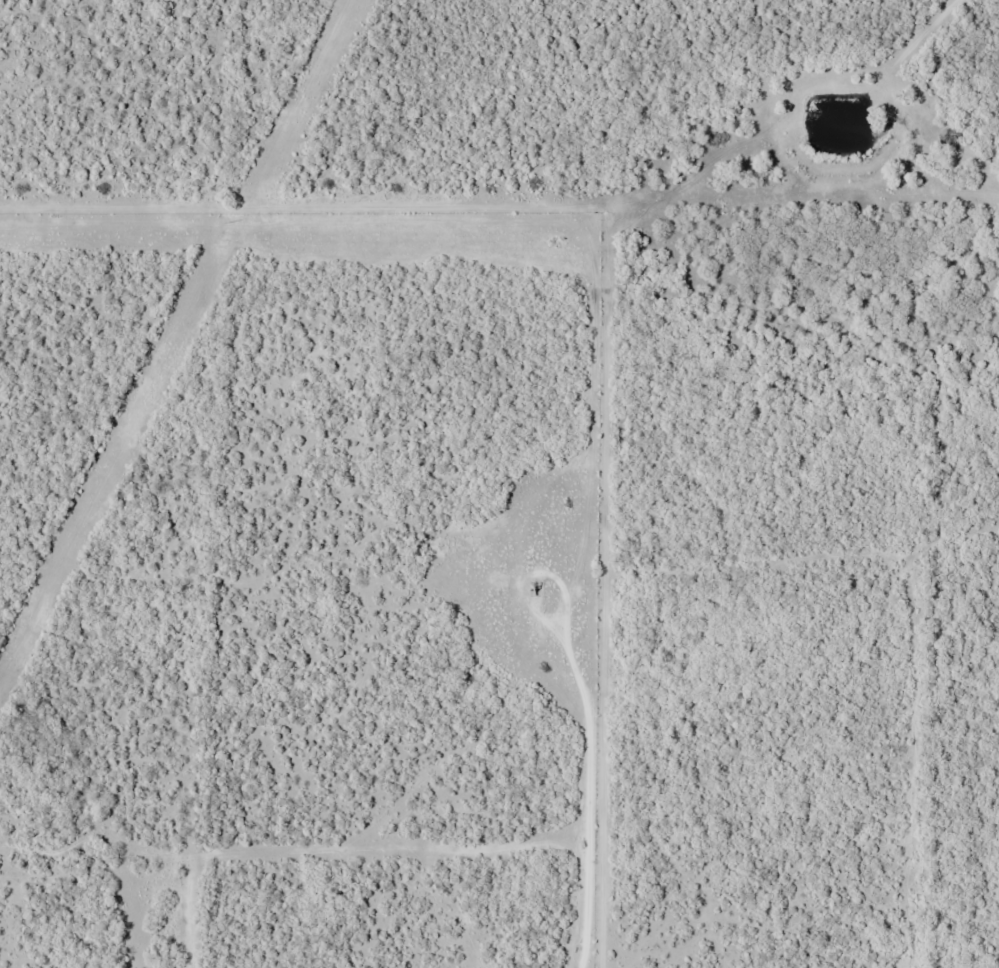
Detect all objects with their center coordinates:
road: (586, 770)

